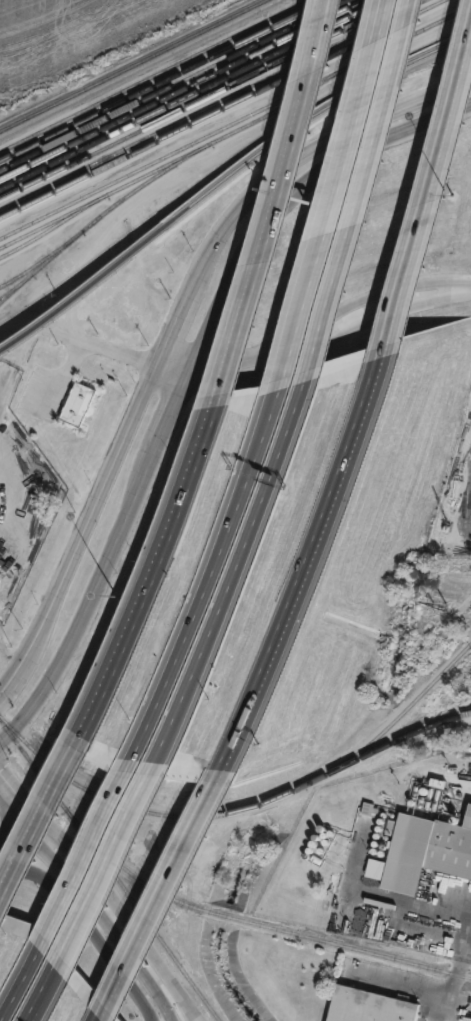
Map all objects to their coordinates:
railway: (132, 65)
railway: (153, 74)
railway: (163, 80)
railway: (171, 85)
railway: (180, 89)
railway: (355, 89)
railway: (203, 98)
railway: (217, 105)
railway: (166, 106)
railway: (222, 136)
railway: (148, 153)
railway: (119, 177)
road: (361, 191)
road: (275, 193)
railway: (104, 194)
road: (334, 195)
road: (429, 220)
railway: (52, 225)
railway: (126, 261)
railway: (34, 262)
railway: (5, 293)
road: (172, 324)
road: (318, 337)
road: (103, 345)
road: (188, 376)
road: (311, 560)
road: (146, 567)
road: (229, 577)
building: (148, 578)
road: (207, 581)
railway: (393, 719)
road: (17, 811)
railway: (229, 811)
road: (35, 817)
road: (6, 829)
road: (36, 843)
building: (431, 846)
road: (90, 854)
road: (113, 868)
railway: (110, 870)
road: (166, 883)
road: (102, 892)
railway: (251, 923)
road: (86, 928)
road: (124, 950)
road: (455, 973)
road: (23, 977)
road: (48, 990)
building: (373, 1007)
road: (98, 1018)

